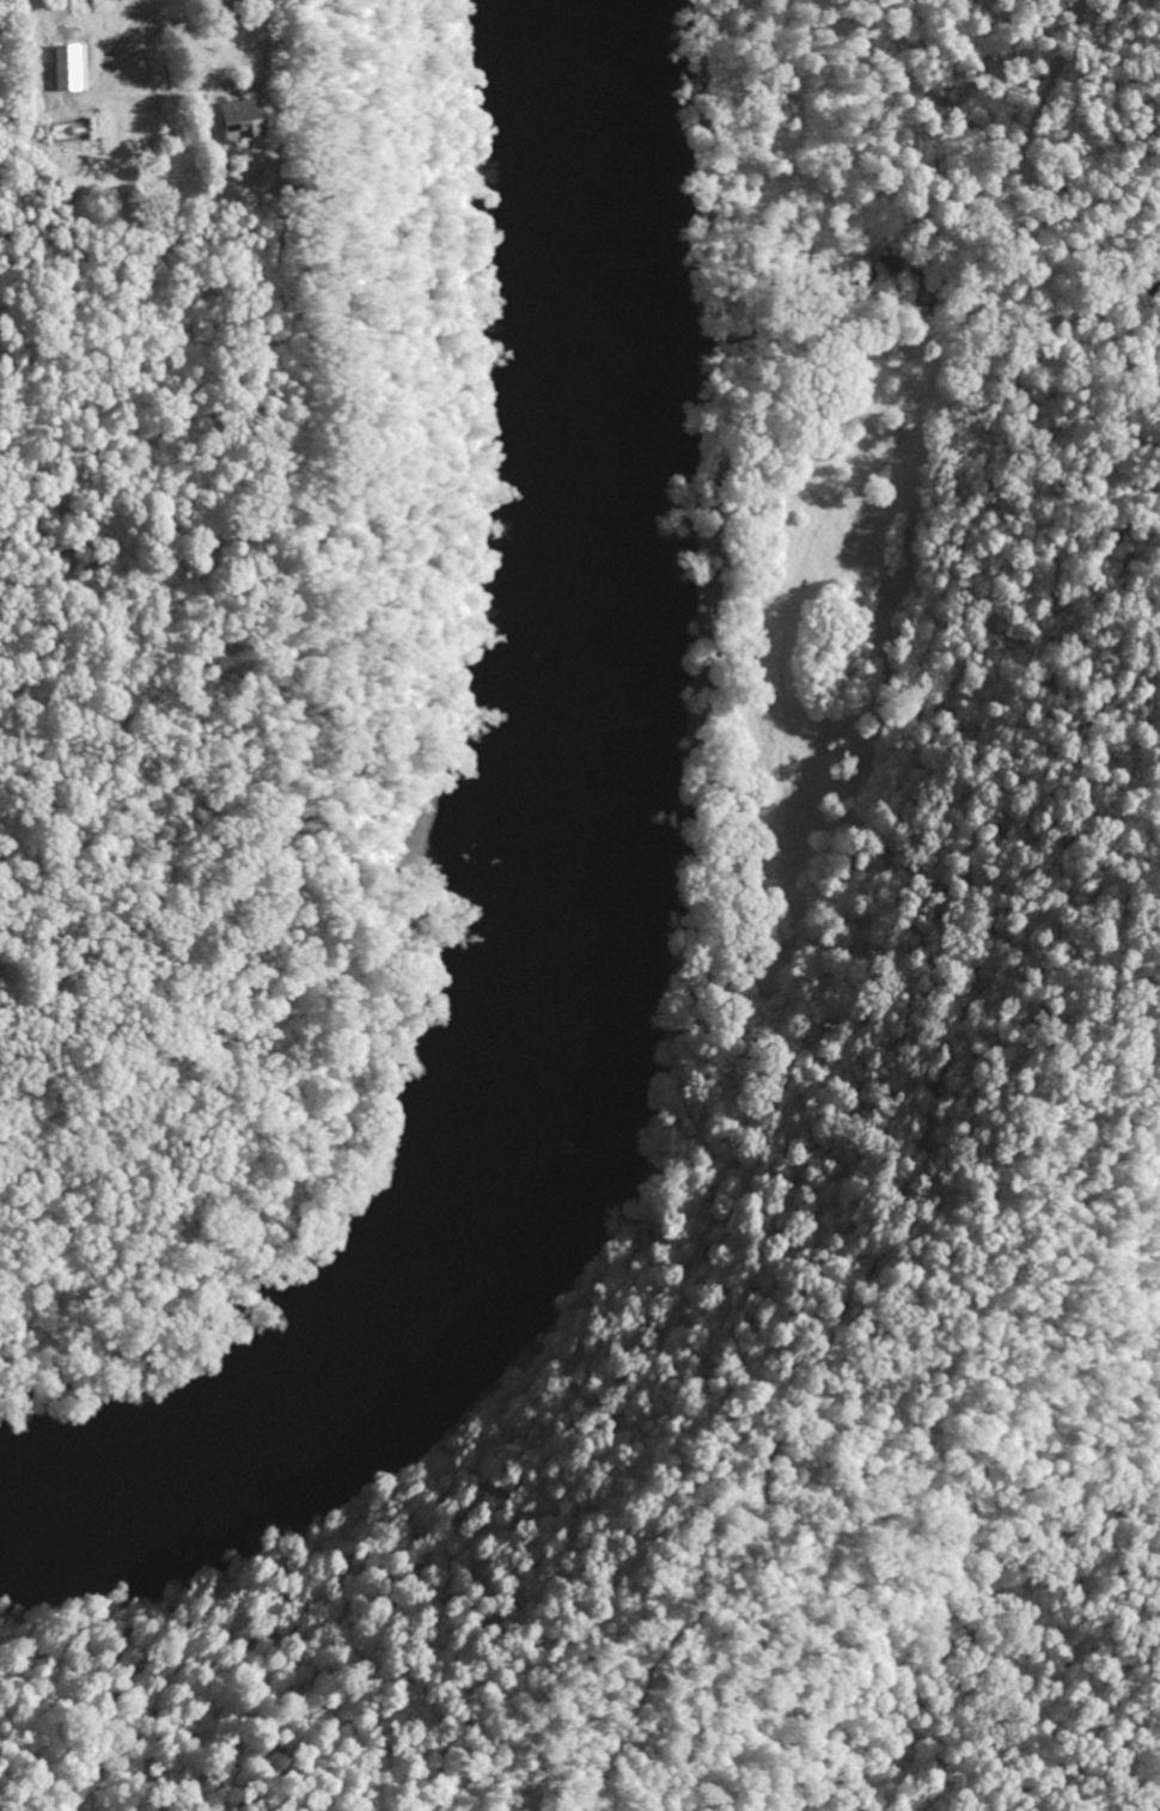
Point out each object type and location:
road: (265, 45)
building: (74, 67)
building: (249, 121)
river: (582, 897)

